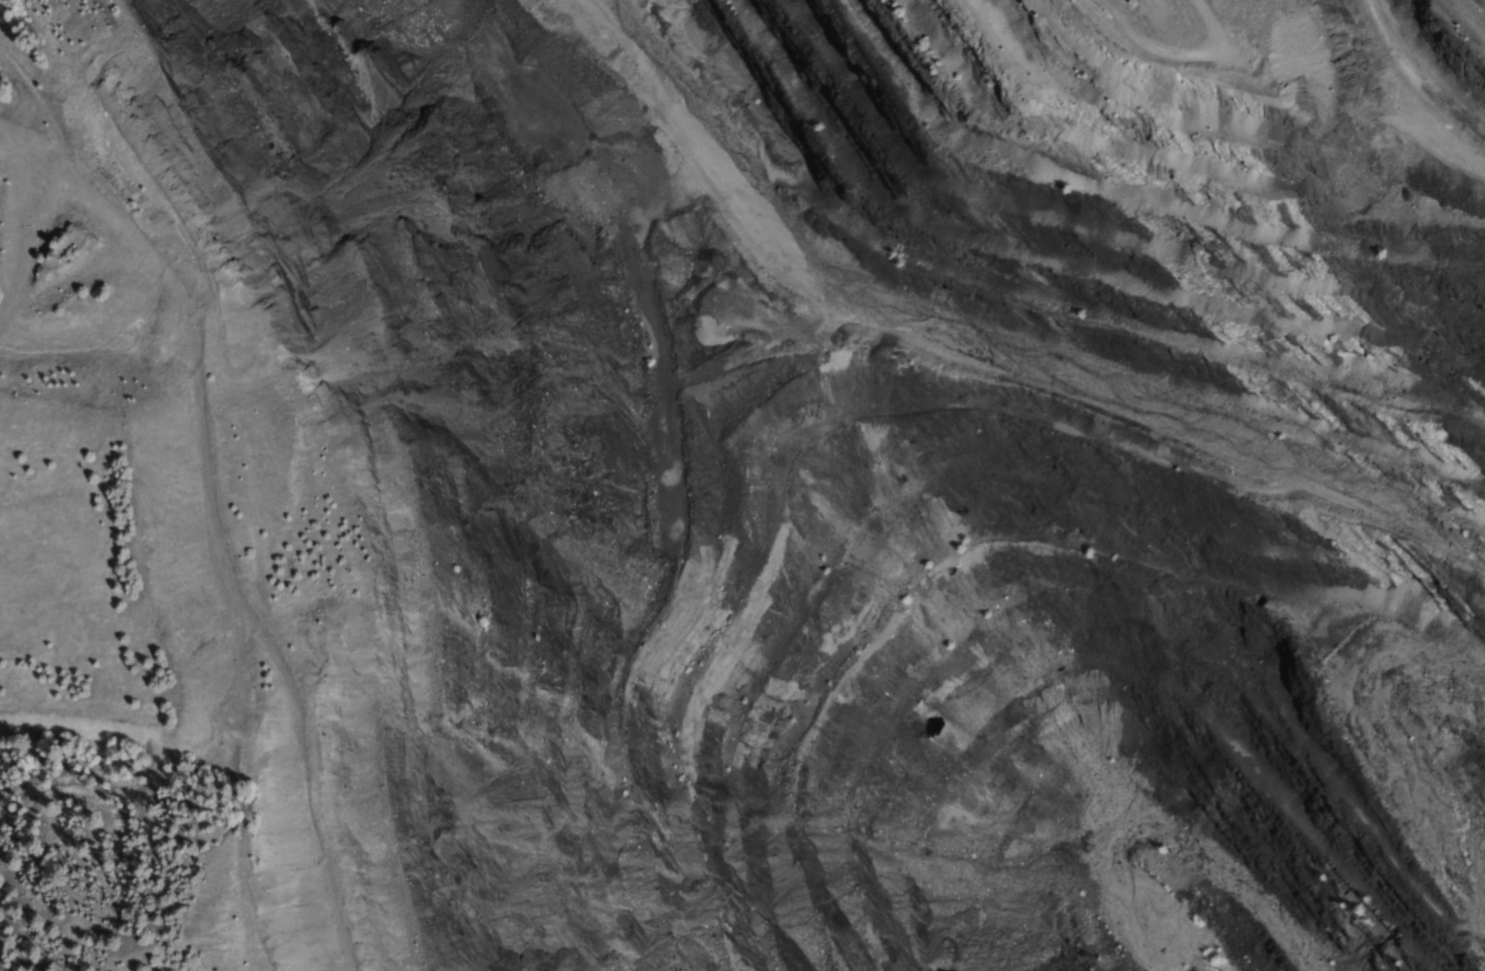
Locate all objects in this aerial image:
quarry: (847, 474)

